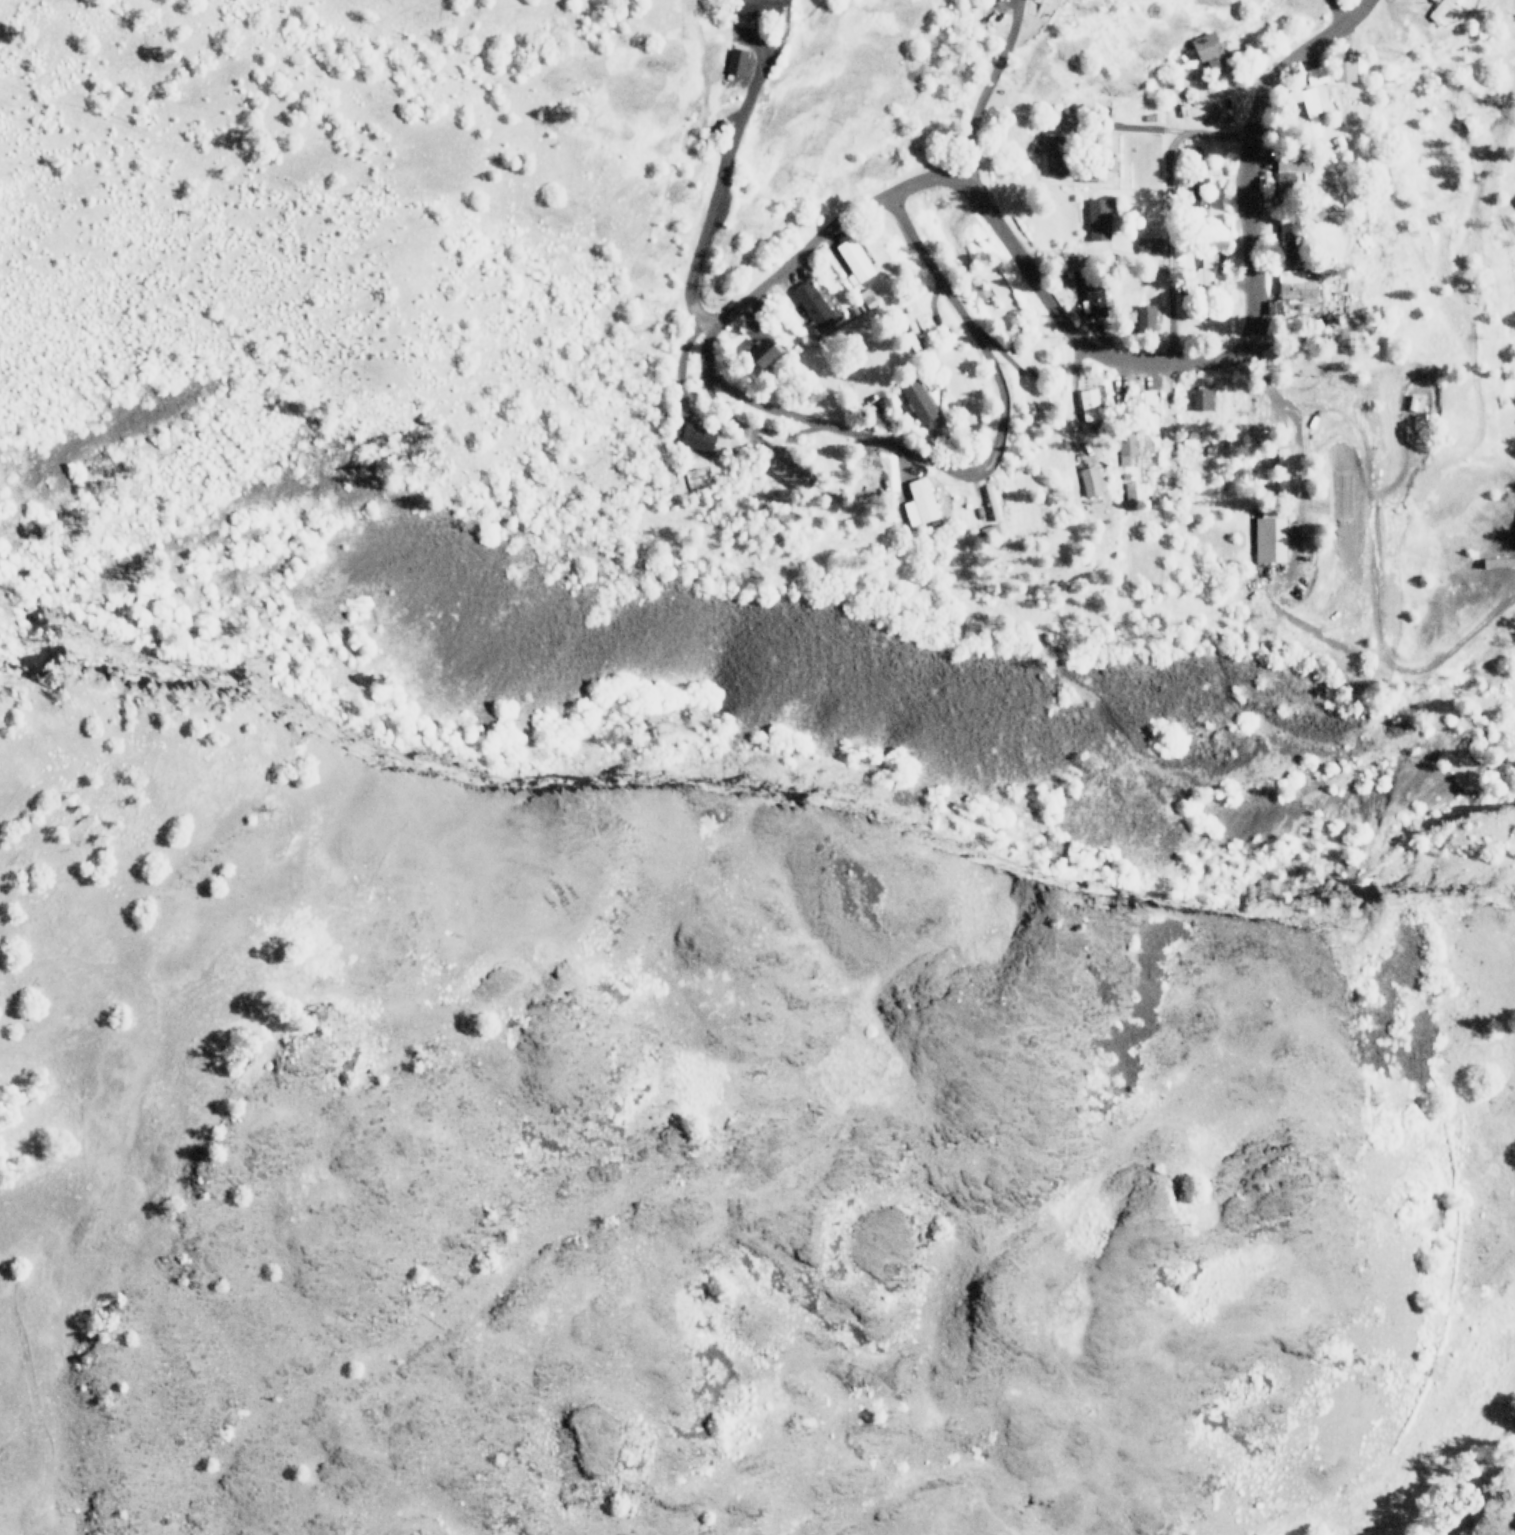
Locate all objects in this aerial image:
building: (759, 6)
building: (1439, 9)
building: (1206, 50)
building: (734, 61)
building: (1343, 71)
building: (1314, 75)
road: (980, 96)
building: (1309, 109)
building: (1068, 123)
building: (1054, 155)
building: (1287, 174)
road: (718, 187)
road: (1168, 214)
building: (1096, 221)
building: (1287, 240)
building: (1147, 246)
building: (852, 261)
building: (1204, 270)
building: (1076, 272)
building: (1291, 288)
building: (976, 290)
building: (1093, 302)
building: (811, 308)
building: (1143, 316)
building: (761, 353)
road: (1228, 360)
road: (706, 366)
building: (1199, 398)
building: (917, 401)
building: (1413, 403)
building: (1087, 405)
building: (696, 438)
building: (1125, 447)
building: (784, 468)
building: (1281, 469)
building: (1088, 481)
building: (1127, 490)
building: (990, 501)
building: (918, 503)

